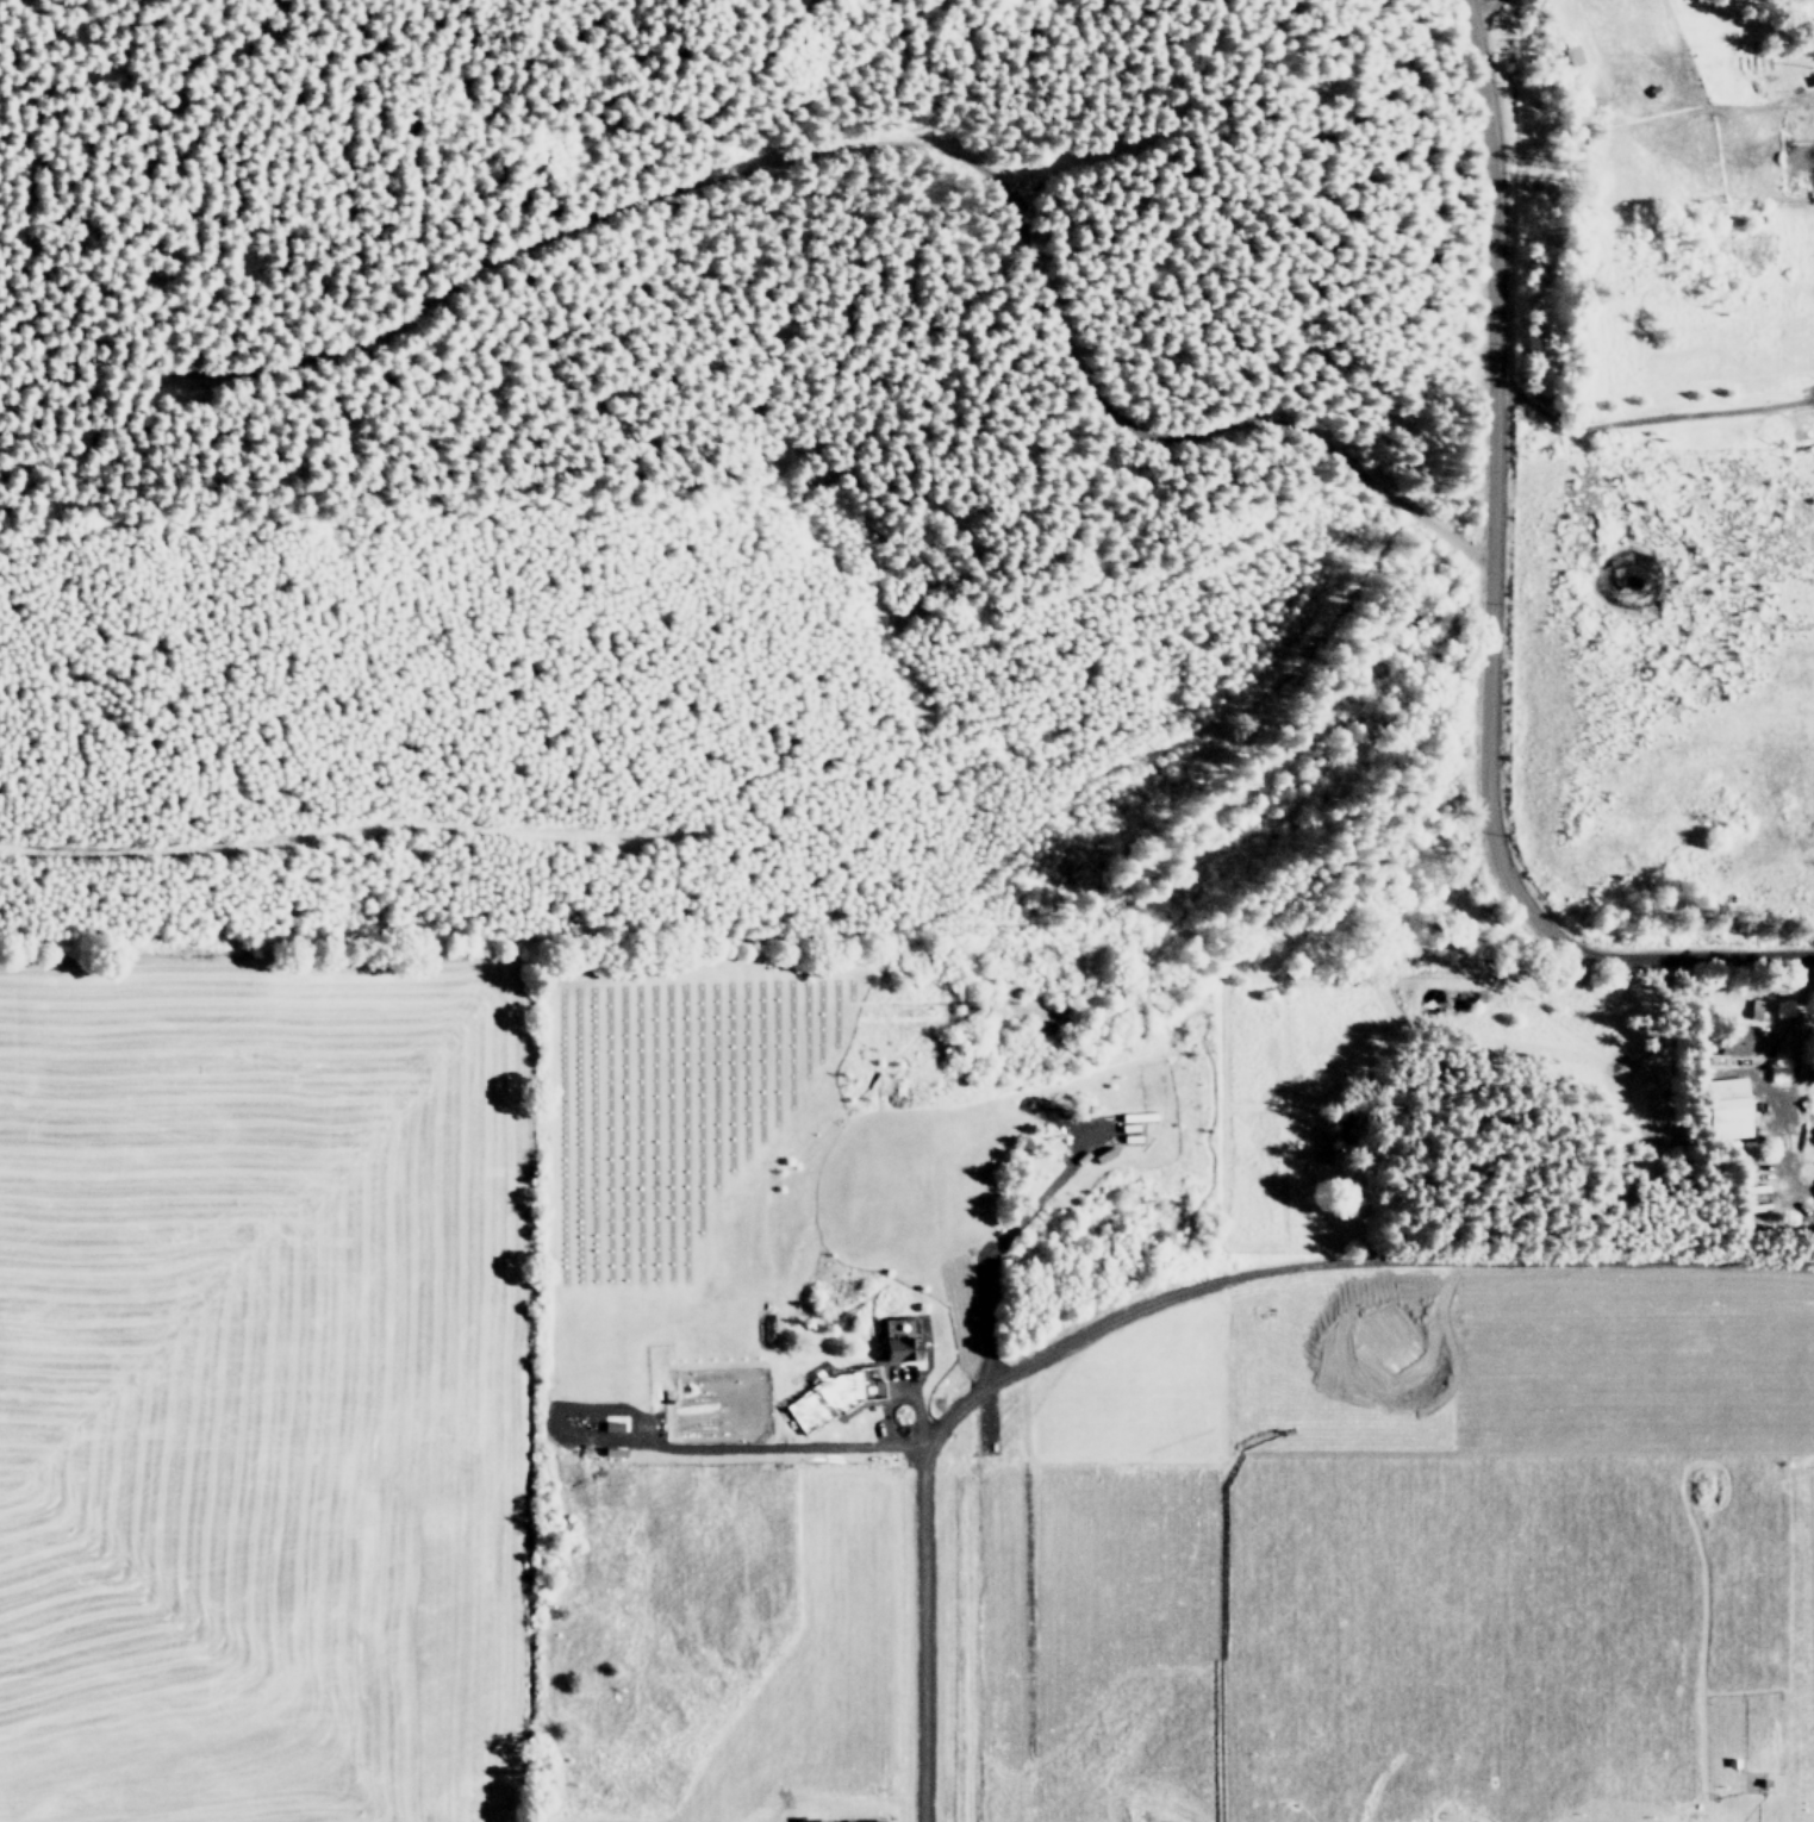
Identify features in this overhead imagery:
building: (1571, 55)
road: (1489, 610)
road: (1469, 885)
building: (1735, 1042)
building: (1728, 1106)
road: (1052, 1112)
building: (1135, 1116)
building: (1126, 1127)
building: (1128, 1138)
building: (1103, 1155)
building: (1079, 1158)
road: (998, 1237)
road: (1160, 1299)
building: (900, 1349)
road: (898, 1375)
building: (665, 1396)
building: (611, 1425)
road: (742, 1446)
building: (613, 1452)
building: (806, 1818)
building: (865, 1821)

